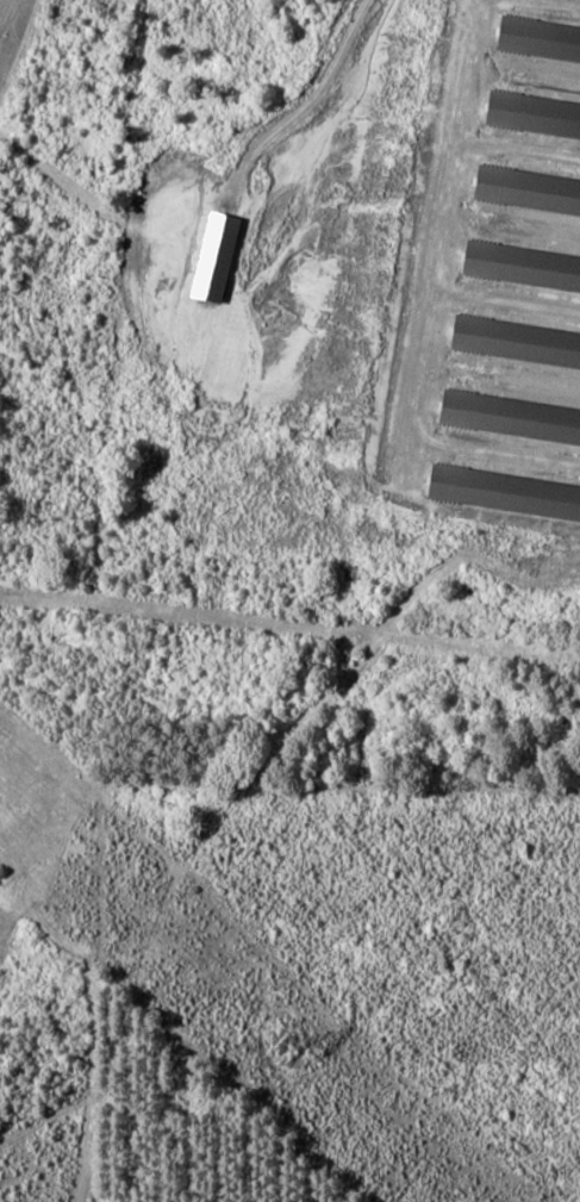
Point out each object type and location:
building: (540, 42)
building: (534, 116)
building: (529, 192)
building: (218, 257)
building: (523, 267)
building: (517, 343)
building: (511, 418)
building: (505, 493)
power tower: (288, 1054)

